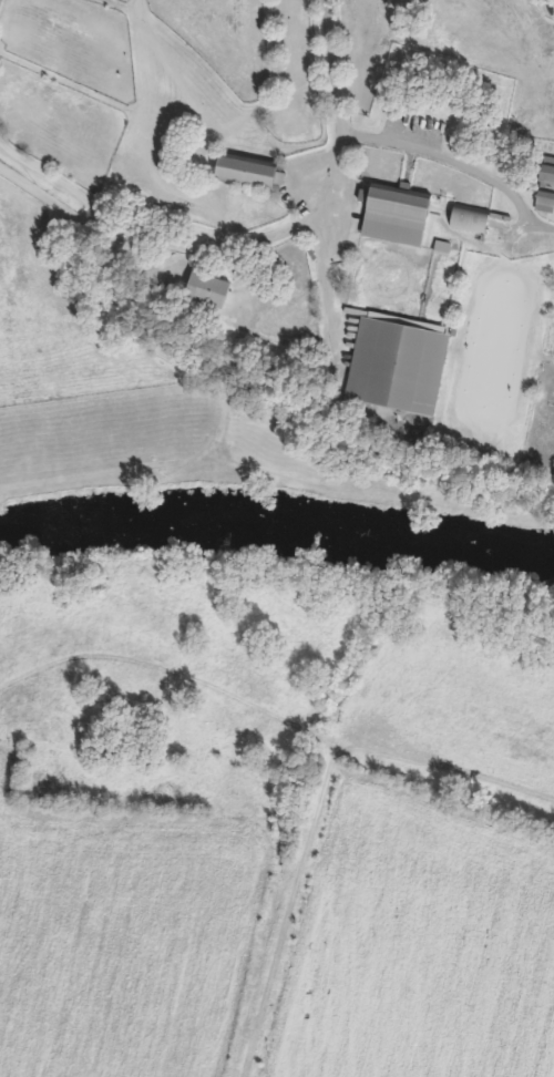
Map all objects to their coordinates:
road: (454, 163)
road: (335, 164)
building: (242, 172)
building: (545, 174)
building: (543, 202)
building: (392, 214)
building: (466, 218)
building: (204, 289)
building: (394, 365)

